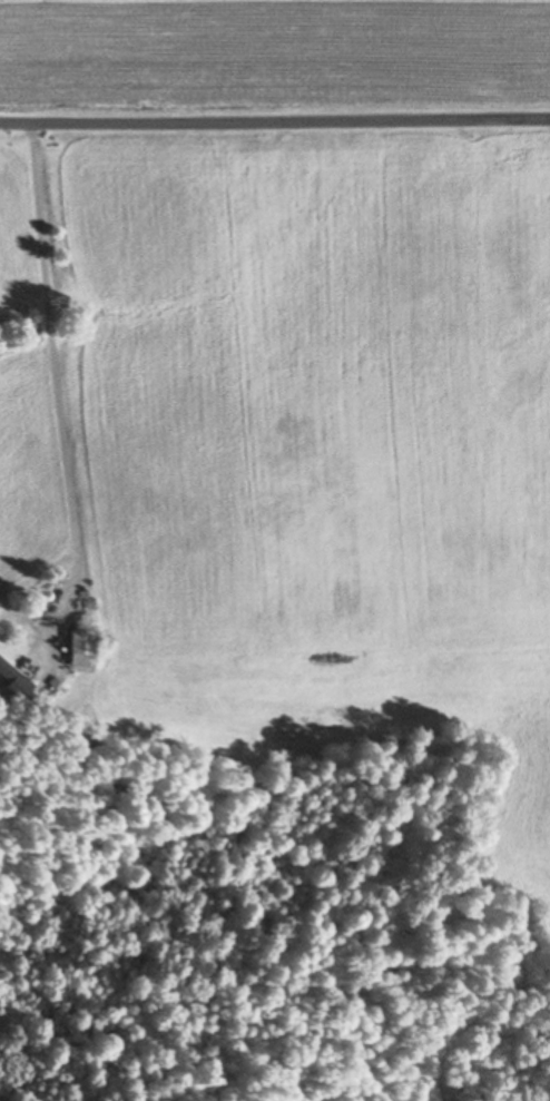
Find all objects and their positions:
road: (275, 118)
building: (78, 642)
building: (6, 672)

